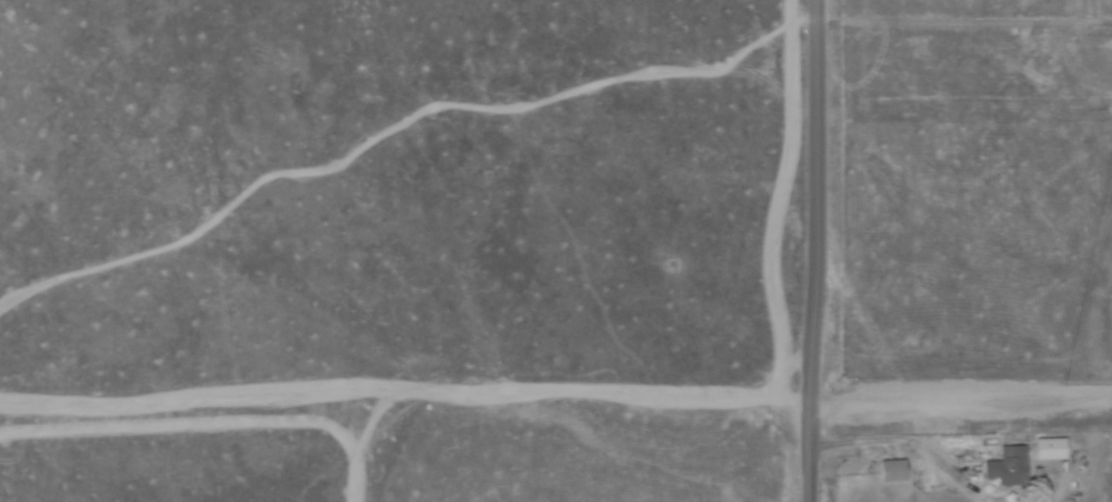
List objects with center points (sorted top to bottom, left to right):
road: (812, 112)
road: (811, 362)
road: (961, 401)
road: (907, 440)
building: (1048, 450)
building: (1007, 468)
building: (890, 471)
road: (1045, 501)

